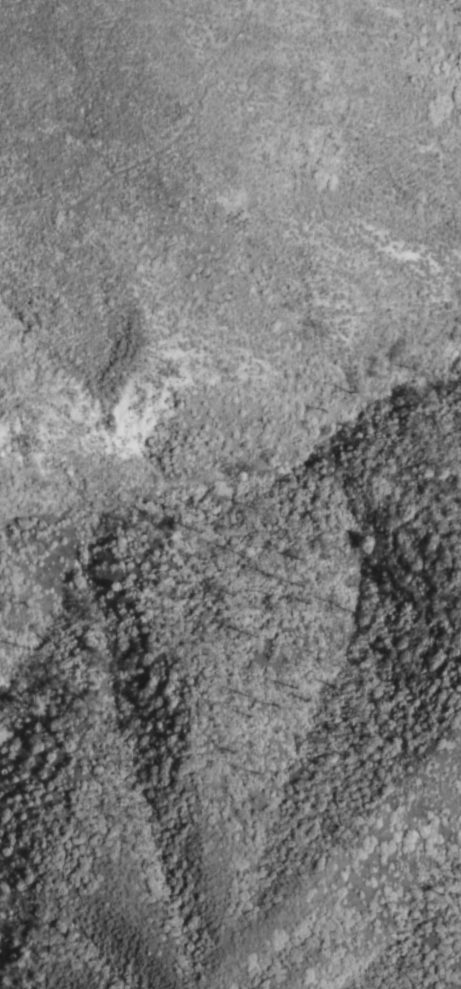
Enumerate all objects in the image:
road: (157, 145)

